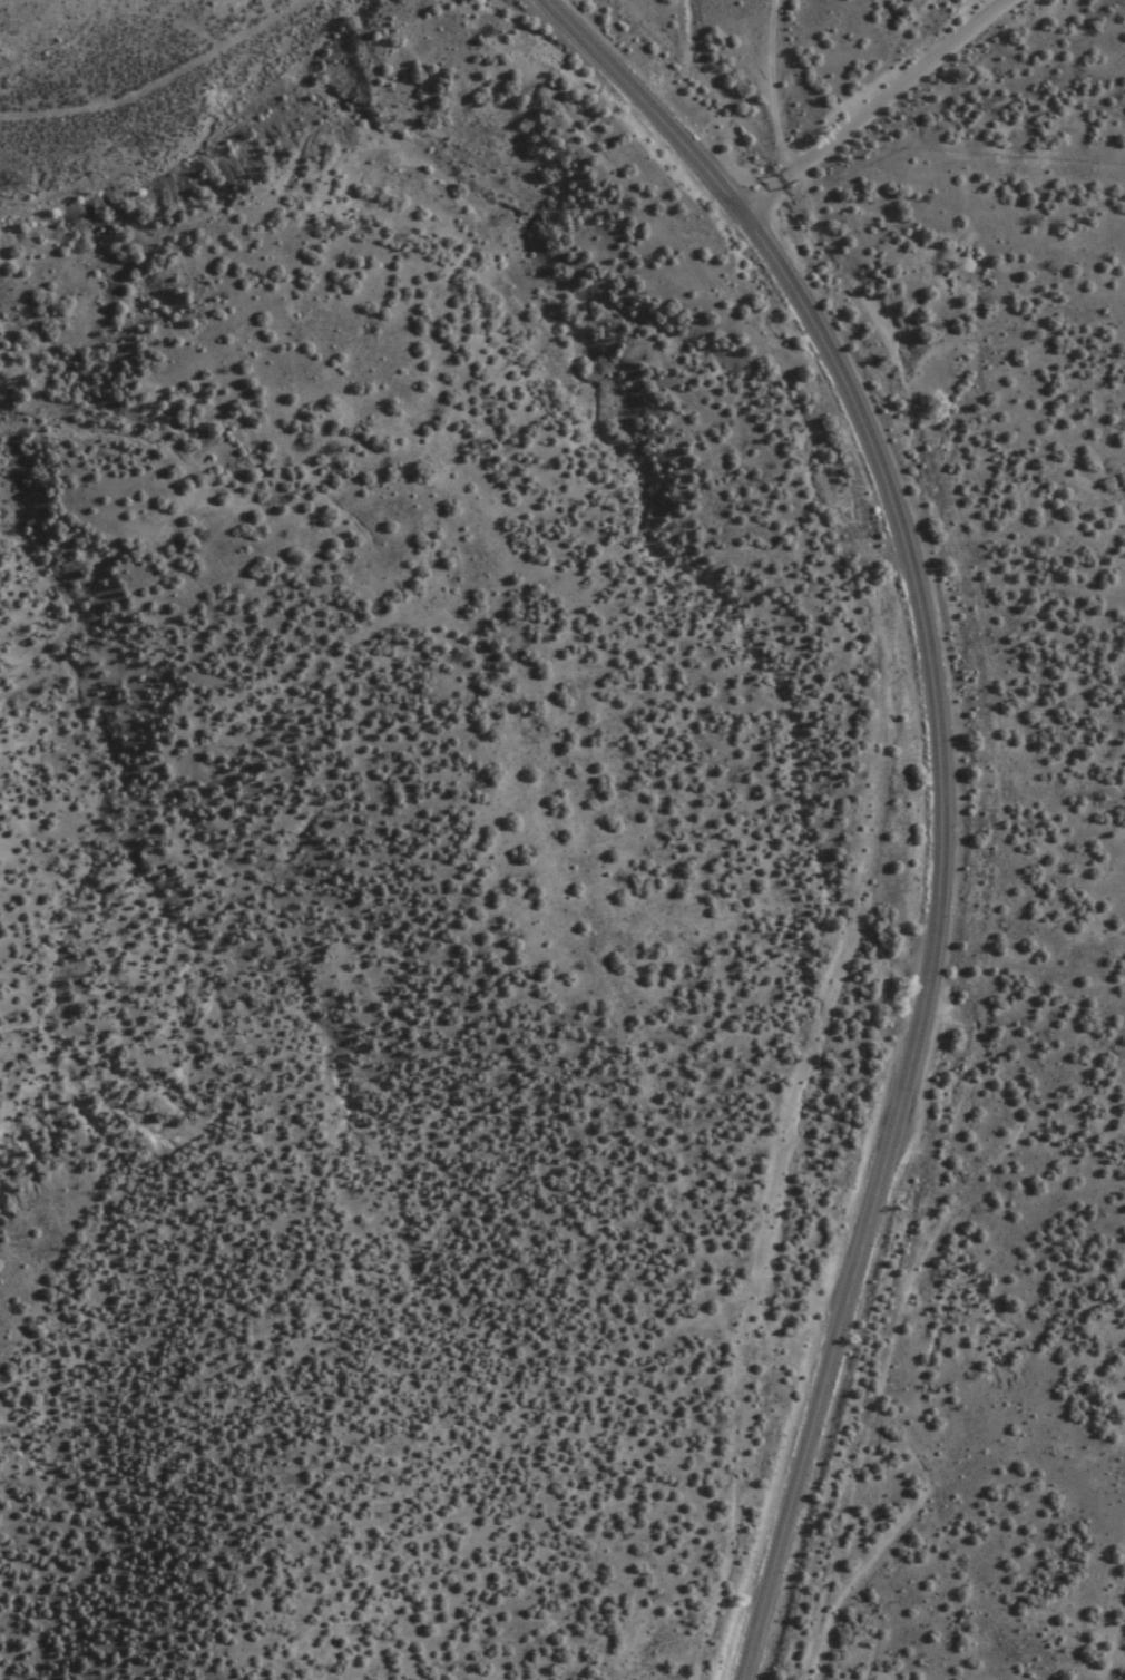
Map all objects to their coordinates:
road: (874, 105)
road: (936, 713)
road: (764, 1605)

